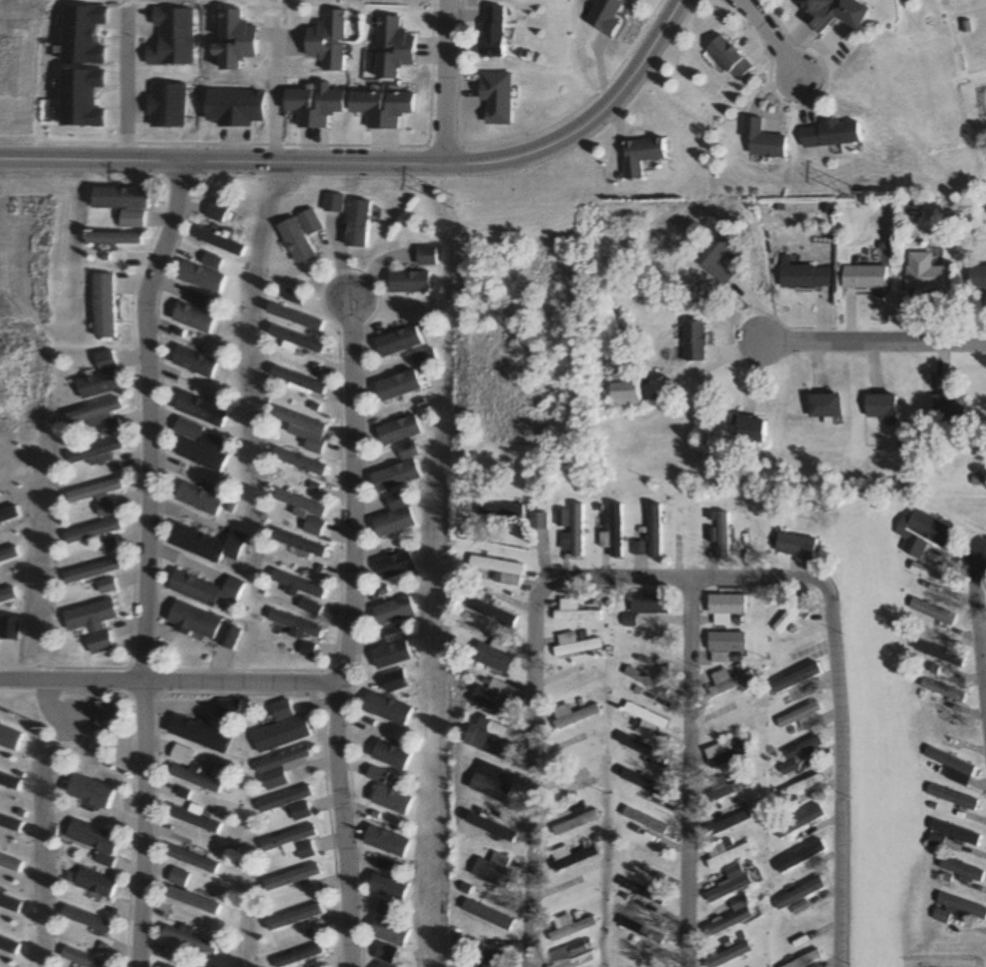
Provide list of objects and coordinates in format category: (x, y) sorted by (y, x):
building: (816, 12)
building: (602, 17)
road: (761, 31)
building: (490, 33)
building: (167, 38)
building: (230, 41)
building: (324, 41)
building: (388, 48)
building: (728, 59)
road: (445, 82)
road: (118, 90)
road: (269, 101)
building: (313, 106)
building: (380, 108)
building: (832, 134)
building: (762, 140)
building: (640, 156)
road: (375, 164)
power tower: (159, 199)
power tower: (860, 199)
power tower: (454, 203)
building: (124, 205)
building: (359, 223)
building: (304, 234)
building: (118, 238)
building: (221, 241)
building: (424, 256)
building: (720, 257)
building: (926, 272)
building: (206, 274)
building: (803, 274)
building: (865, 277)
building: (978, 277)
building: (406, 281)
building: (295, 296)
building: (106, 305)
building: (295, 316)
building: (192, 317)
building: (295, 338)
road: (874, 339)
building: (694, 340)
building: (395, 341)
building: (422, 359)
building: (190, 361)
building: (98, 377)
building: (295, 378)
building: (393, 385)
building: (824, 405)
building: (879, 405)
building: (948, 407)
building: (194, 408)
building: (94, 415)
building: (300, 428)
building: (750, 429)
building: (393, 430)
building: (193, 446)
building: (90, 450)
building: (294, 461)
building: (393, 470)
building: (93, 496)
building: (192, 499)
building: (295, 503)
building: (498, 509)
building: (389, 516)
building: (538, 521)
building: (308, 526)
building: (570, 529)
building: (89, 531)
building: (654, 531)
building: (613, 532)
building: (921, 533)
building: (722, 536)
building: (203, 545)
building: (297, 545)
building: (796, 545)
building: (104, 546)
road: (142, 562)
building: (89, 571)
building: (501, 571)
building: (928, 573)
road: (685, 579)
building: (293, 584)
building: (104, 586)
building: (201, 589)
building: (726, 605)
building: (304, 607)
building: (644, 609)
building: (388, 611)
building: (574, 612)
building: (935, 612)
building: (791, 613)
building: (191, 621)
building: (92, 624)
building: (292, 626)
road: (978, 629)
road: (342, 632)
building: (388, 634)
building: (225, 637)
building: (574, 645)
building: (724, 645)
building: (303, 649)
building: (387, 655)
building: (494, 655)
building: (644, 679)
building: (575, 681)
building: (729, 682)
road: (167, 683)
building: (943, 689)
building: (495, 697)
building: (226, 709)
building: (108, 715)
building: (572, 715)
building: (799, 716)
building: (645, 718)
building: (196, 734)
building: (279, 734)
building: (489, 738)
building: (723, 752)
building: (797, 753)
building: (389, 755)
road: (534, 765)
building: (951, 766)
building: (277, 767)
road: (838, 769)
road: (686, 773)
building: (194, 778)
building: (489, 782)
building: (726, 786)
building: (800, 786)
building: (86, 791)
building: (950, 797)
building: (285, 799)
building: (389, 799)
building: (575, 806)
building: (300, 811)
building: (193, 818)
building: (644, 820)
building: (725, 821)
building: (574, 822)
building: (949, 835)
building: (90, 840)
building: (292, 842)
building: (724, 855)
building: (569, 856)
building: (643, 856)
building: (799, 857)
building: (192, 859)
building: (492, 870)
building: (961, 871)
building: (178, 877)
building: (291, 877)
building: (91, 882)
building: (727, 885)
building: (383, 886)
building: (642, 892)
building: (797, 895)
building: (193, 901)
building: (381, 909)
building: (955, 909)
building: (488, 914)
building: (732, 915)
building: (292, 917)
building: (85, 919)
building: (570, 927)
building: (642, 930)
building: (384, 931)
building: (190, 940)
building: (380, 954)
building: (726, 955)
building: (295, 956)
building: (571, 956)
building: (82, 958)
building: (495, 959)
building: (804, 960)
building: (168, 966)
building: (375, 966)

